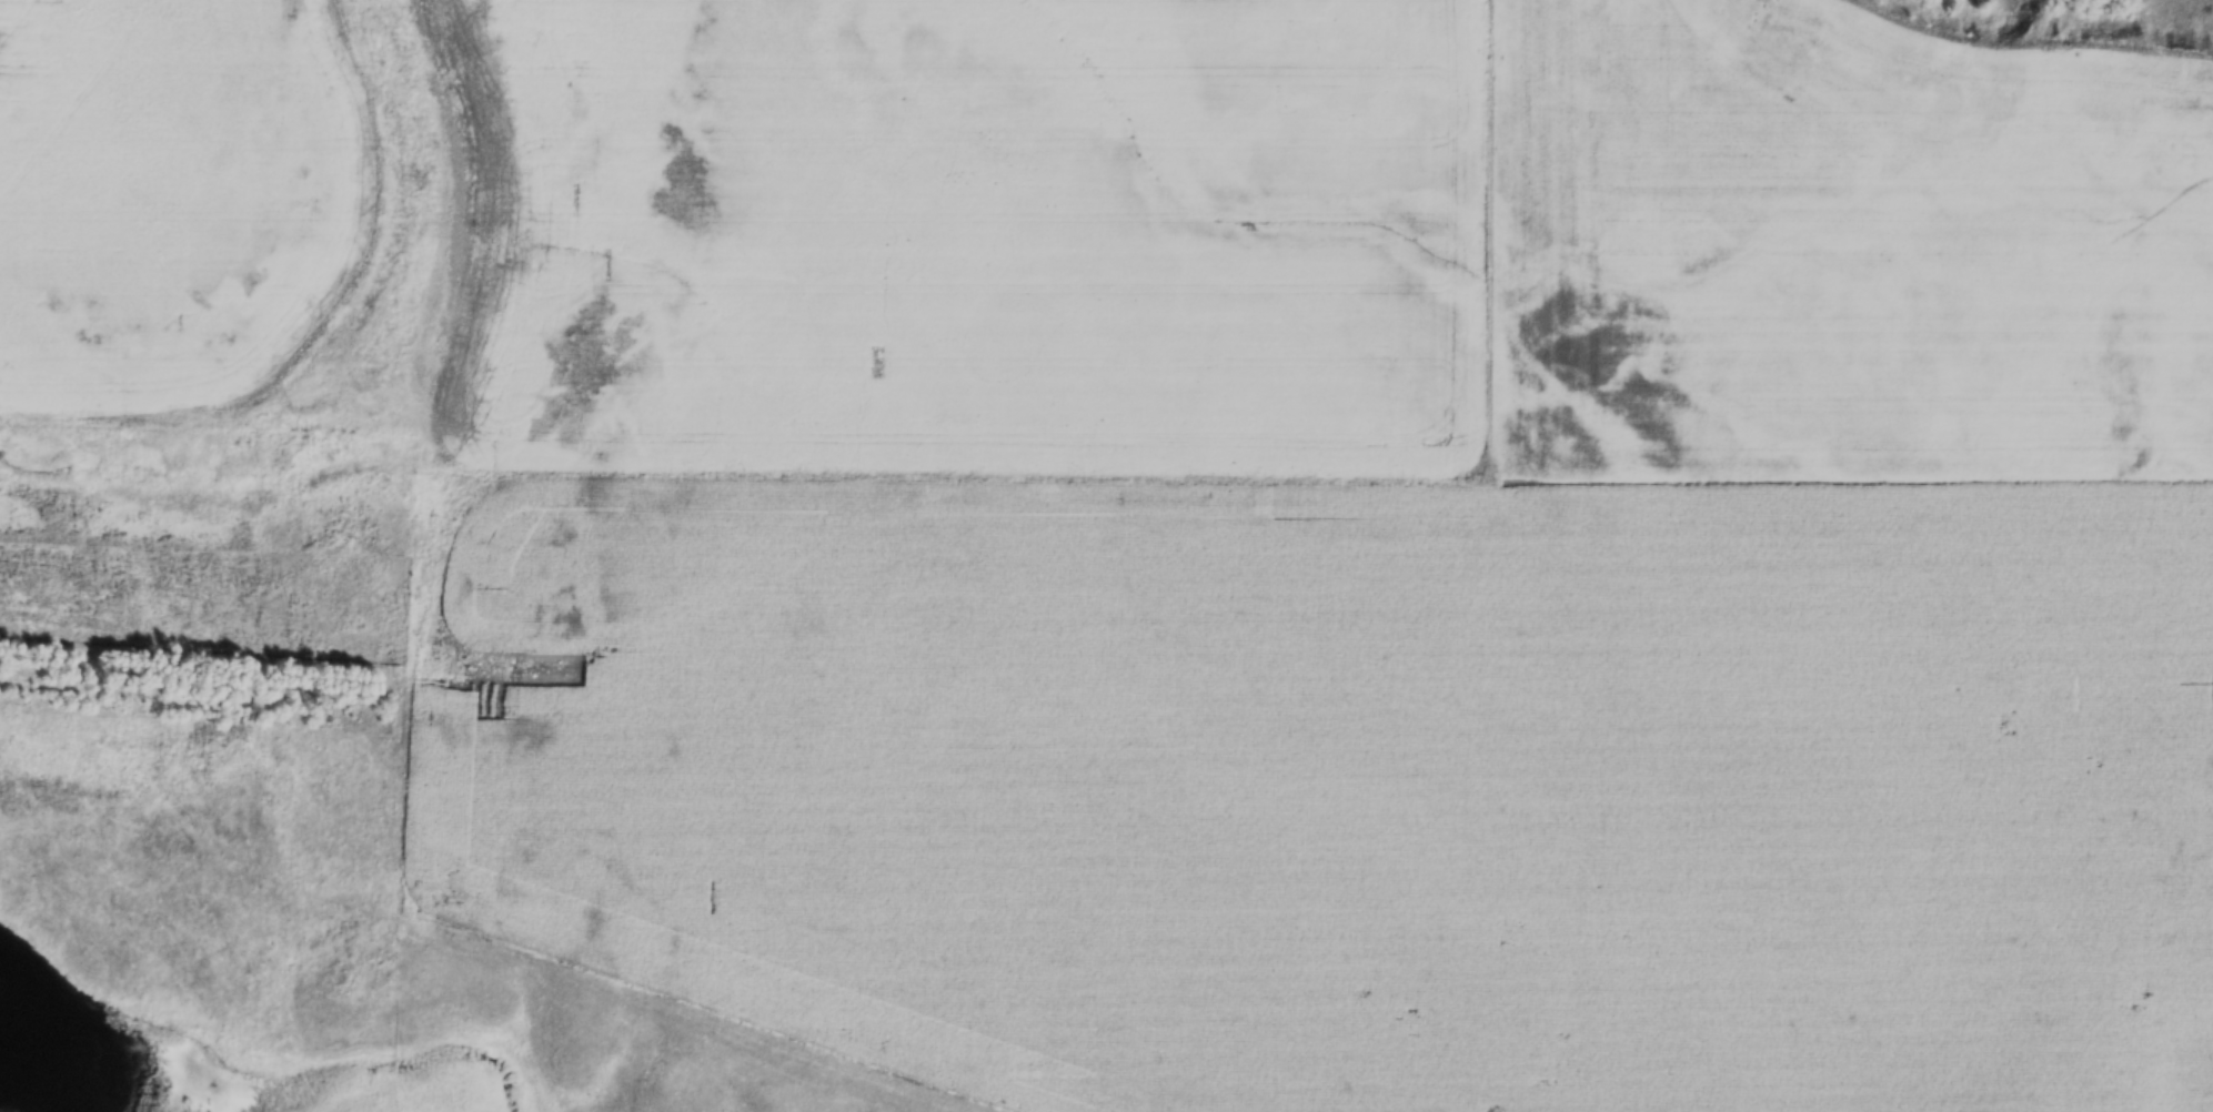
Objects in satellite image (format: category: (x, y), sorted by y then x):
road: (1106, 471)

